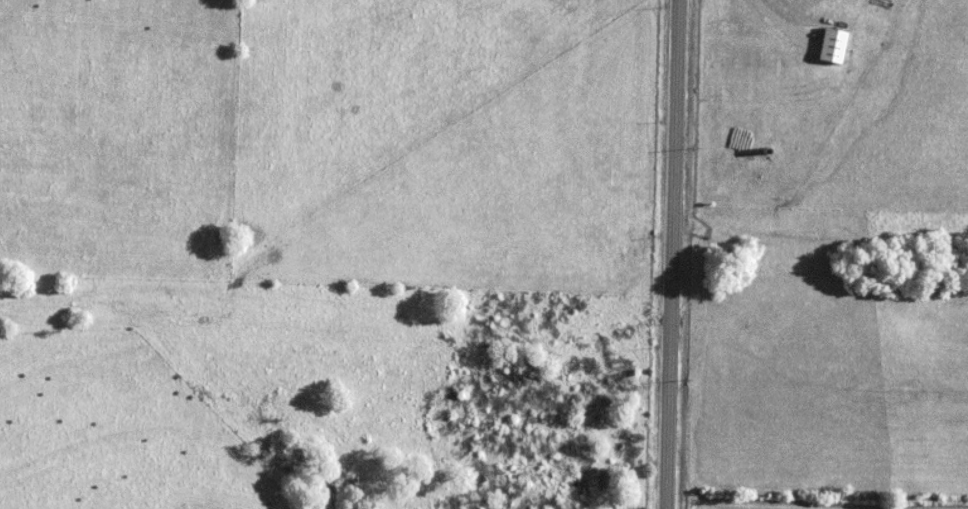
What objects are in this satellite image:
road: (679, 254)

